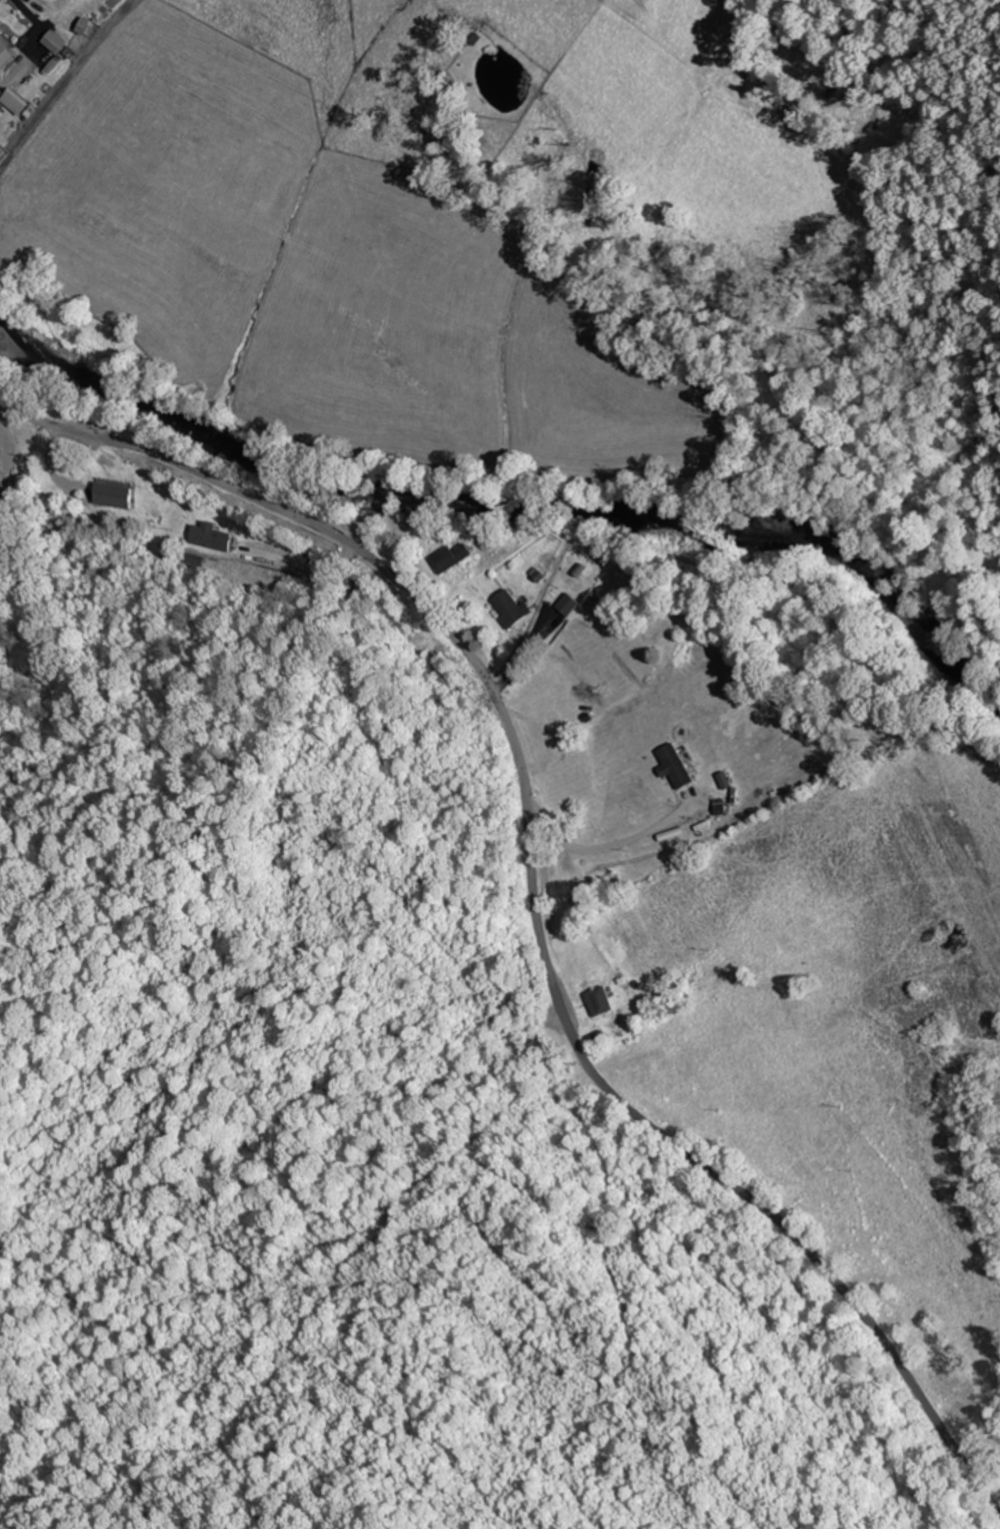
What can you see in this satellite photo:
building: (57, 42)
building: (6, 54)
building: (0, 460)
building: (115, 494)
river: (512, 505)
building: (211, 537)
building: (453, 559)
building: (570, 605)
building: (511, 609)
building: (677, 766)
building: (727, 781)
building: (584, 890)
road: (532, 896)
building: (602, 1002)
building: (599, 1037)
building: (534, 1044)

